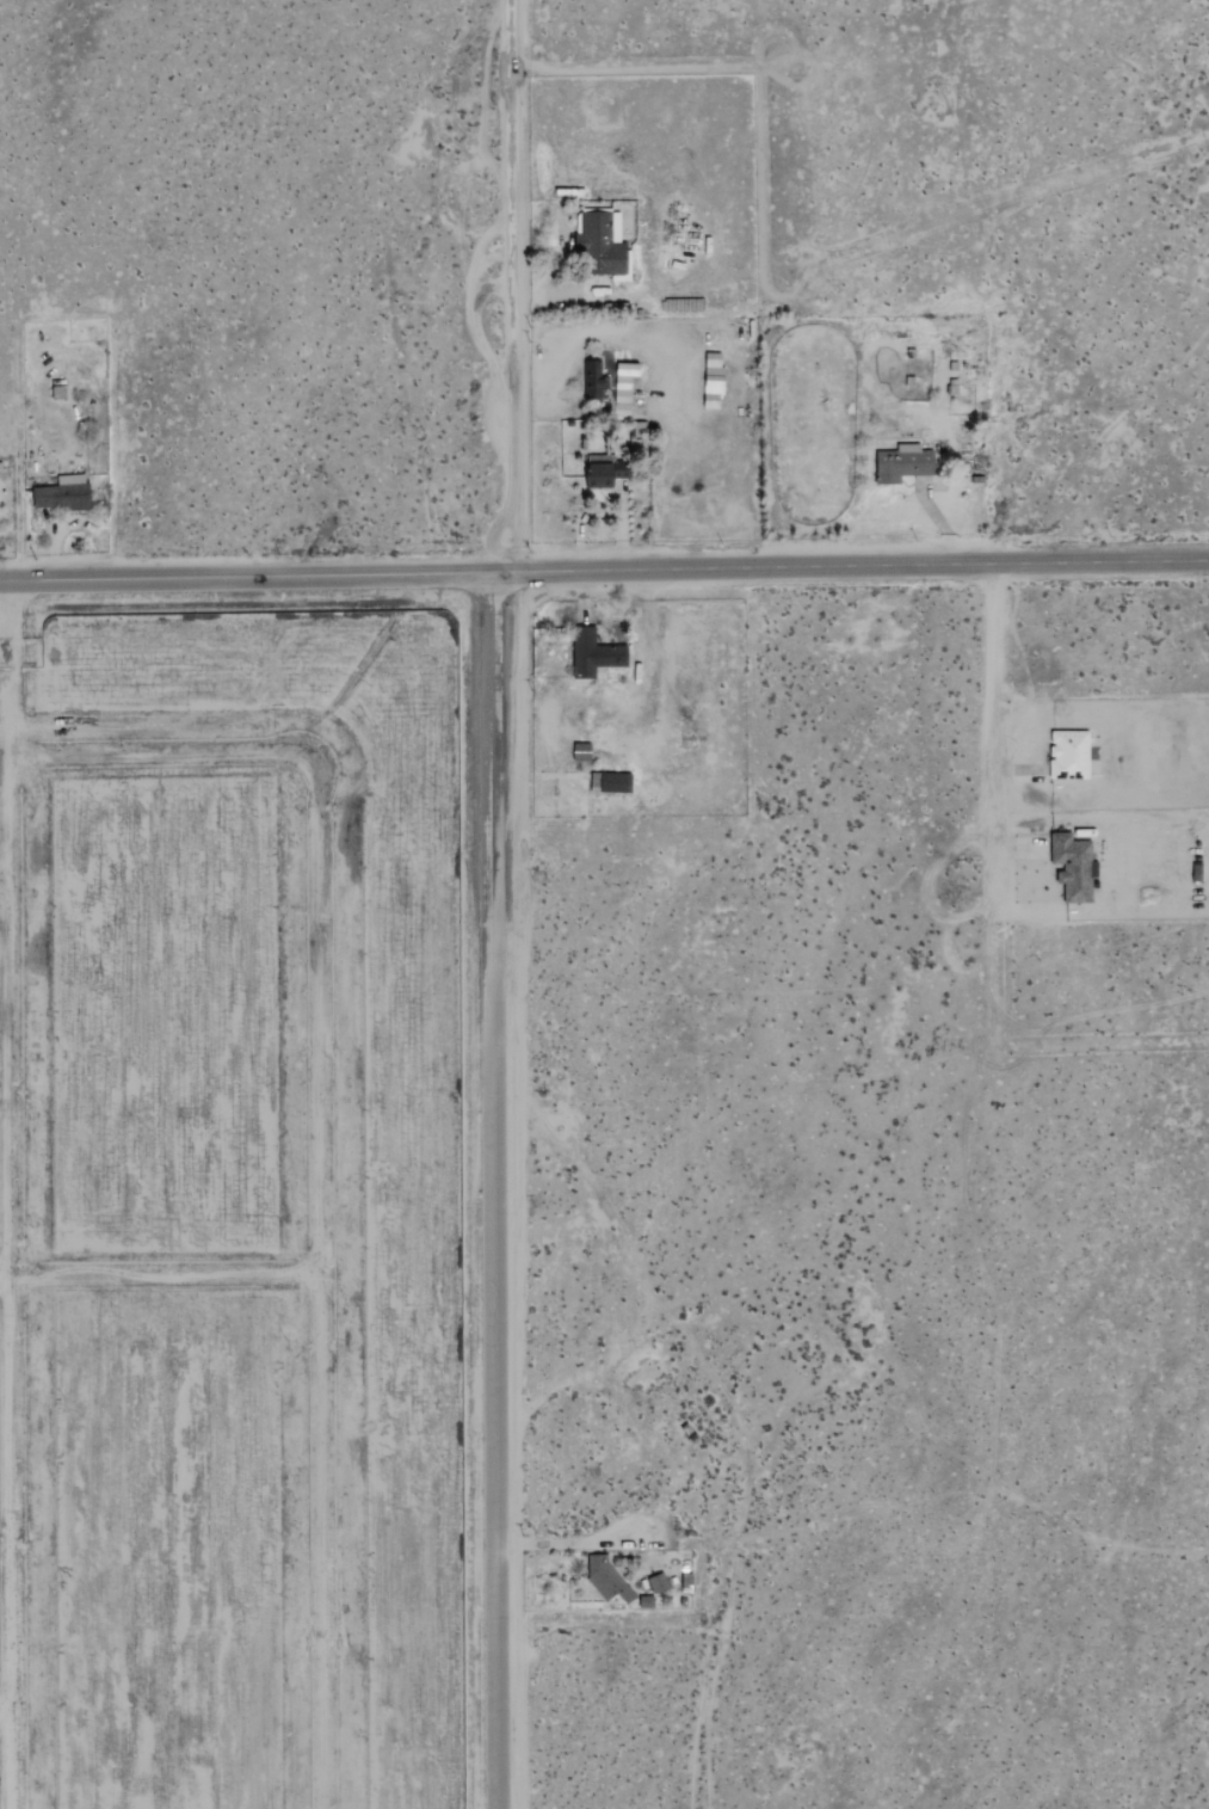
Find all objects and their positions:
building: (602, 241)
road: (568, 247)
road: (506, 285)
building: (610, 386)
building: (899, 461)
building: (62, 493)
road: (604, 571)
road: (582, 596)
road: (644, 626)
building: (592, 651)
building: (582, 752)
building: (1069, 755)
road: (1010, 769)
building: (616, 783)
road: (985, 807)
road: (1013, 848)
building: (1074, 867)
road: (1099, 1050)
road: (314, 1120)
road: (494, 1189)
road: (158, 1276)
road: (1, 1540)
building: (607, 1581)
building: (658, 1582)
road: (1, 1717)

